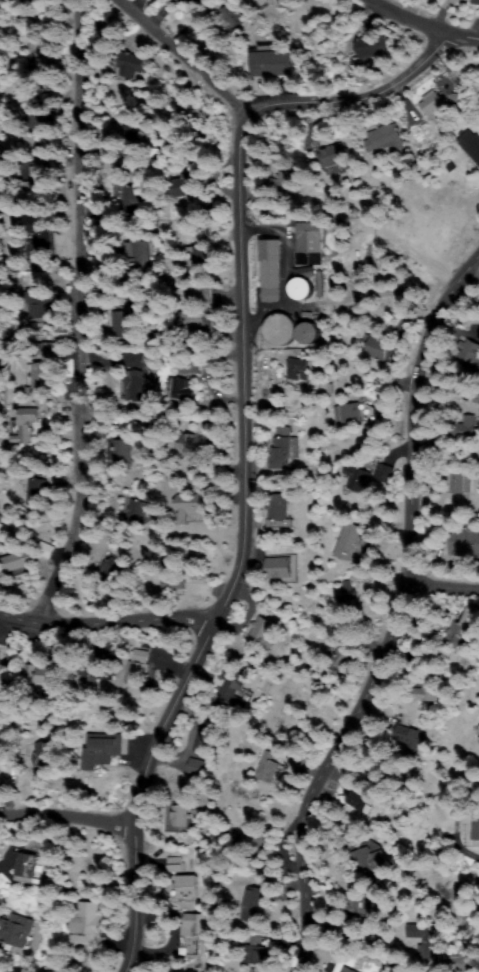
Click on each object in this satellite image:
building: (192, 0)
building: (460, 0)
building: (475, 0)
building: (227, 18)
road: (430, 23)
building: (372, 45)
building: (43, 58)
building: (273, 64)
road: (151, 66)
building: (130, 67)
road: (358, 100)
building: (432, 105)
building: (36, 114)
building: (134, 126)
building: (380, 139)
building: (470, 144)
building: (330, 159)
building: (36, 181)
building: (280, 182)
building: (179, 186)
building: (125, 197)
building: (192, 197)
building: (42, 229)
building: (311, 237)
building: (137, 254)
building: (194, 255)
building: (181, 260)
building: (270, 271)
building: (303, 272)
building: (320, 284)
building: (297, 288)
storage tank: (301, 289)
building: (200, 293)
building: (34, 304)
road: (57, 309)
building: (42, 315)
building: (308, 316)
building: (195, 319)
building: (122, 323)
building: (276, 329)
storage tank: (279, 330)
building: (304, 332)
storage tank: (308, 334)
building: (377, 346)
building: (55, 350)
building: (470, 351)
building: (190, 366)
building: (151, 368)
building: (299, 375)
building: (41, 377)
building: (180, 388)
building: (130, 390)
building: (345, 414)
building: (27, 425)
building: (461, 425)
building: (471, 426)
building: (193, 443)
building: (122, 450)
building: (282, 453)
building: (381, 472)
building: (358, 478)
building: (460, 481)
building: (36, 492)
building: (187, 505)
building: (277, 506)
building: (135, 509)
building: (349, 538)
building: (464, 541)
road: (225, 557)
building: (14, 565)
building: (112, 566)
building: (279, 568)
building: (174, 583)
road: (442, 587)
building: (349, 600)
road: (396, 620)
road: (100, 625)
building: (264, 631)
building: (463, 631)
building: (341, 655)
building: (1, 658)
building: (139, 668)
building: (96, 672)
building: (48, 675)
building: (427, 690)
building: (233, 691)
building: (478, 727)
building: (410, 737)
building: (208, 739)
building: (101, 749)
building: (45, 756)
building: (196, 766)
building: (270, 768)
building: (359, 795)
building: (176, 814)
building: (187, 819)
road: (56, 823)
building: (476, 828)
building: (252, 839)
building: (370, 859)
building: (25, 864)
building: (176, 864)
building: (189, 887)
road: (452, 896)
building: (362, 904)
building: (257, 905)
building: (198, 925)
building: (339, 926)
building: (86, 927)
building: (14, 929)
building: (425, 938)
building: (185, 944)
building: (257, 952)
building: (347, 970)
building: (0, 971)

